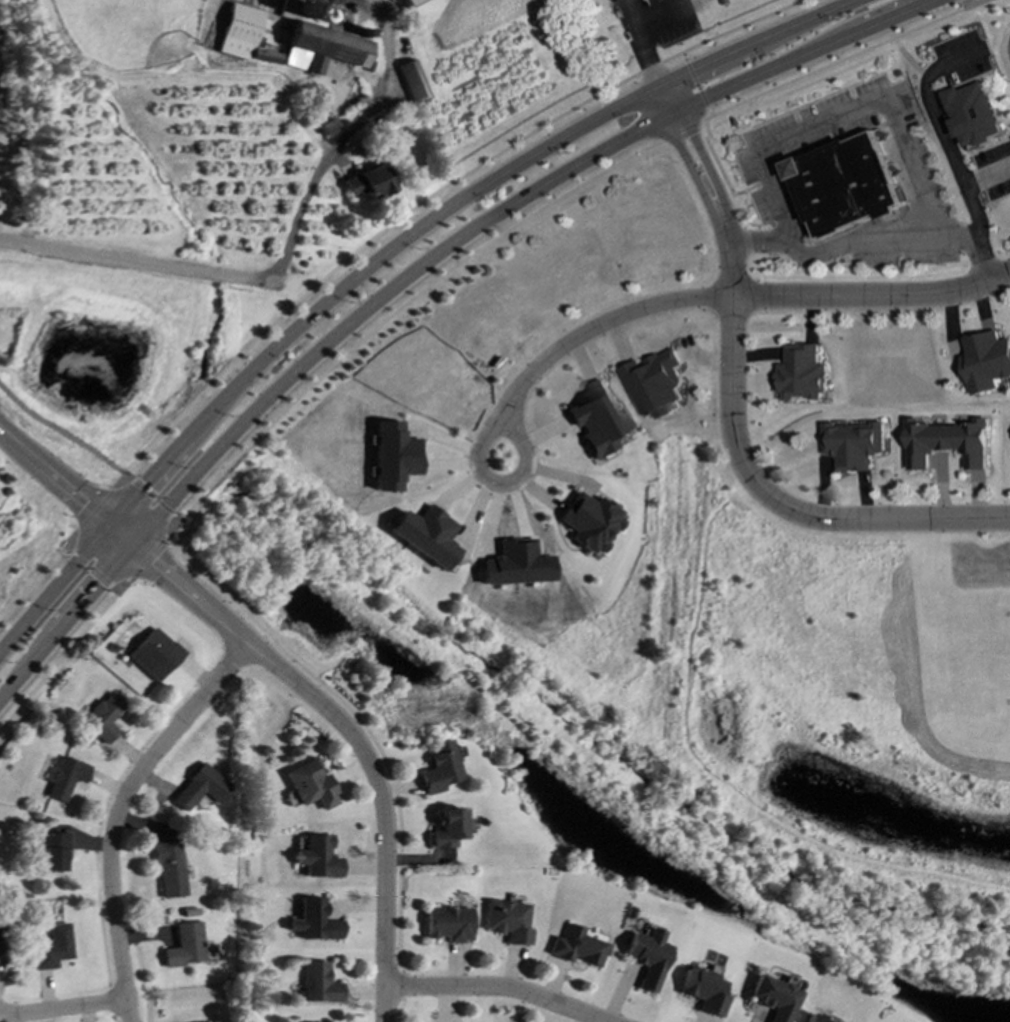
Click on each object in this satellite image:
crop: (765, 1)
road: (968, 2)
road: (978, 2)
building: (419, 6)
building: (244, 35)
road: (642, 37)
building: (319, 43)
road: (907, 59)
road: (834, 62)
building: (413, 82)
road: (694, 84)
road: (844, 114)
building: (973, 114)
road: (678, 130)
road: (336, 148)
road: (947, 151)
road: (986, 176)
building: (369, 183)
building: (844, 185)
road: (426, 200)
road: (846, 243)
road: (379, 258)
road: (140, 262)
road: (409, 273)
road: (738, 297)
road: (392, 312)
building: (987, 362)
building: (802, 374)
building: (655, 384)
road: (729, 412)
building: (596, 419)
road: (60, 430)
building: (948, 443)
building: (855, 445)
building: (392, 456)
road: (127, 477)
road: (496, 484)
road: (65, 489)
road: (153, 500)
road: (94, 510)
traffic signals: (107, 522)
building: (588, 522)
building: (425, 535)
traffic signals: (134, 543)
road: (67, 549)
road: (147, 557)
road: (91, 569)
road: (37, 576)
road: (115, 589)
road: (64, 655)
building: (155, 655)
building: (105, 718)
park: (833, 722)
road: (350, 737)
building: (439, 768)
building: (66, 778)
building: (310, 786)
building: (201, 788)
road: (121, 812)
building: (447, 828)
building: (55, 851)
building: (317, 858)
building: (170, 869)
building: (314, 921)
building: (508, 921)
building: (448, 924)
building: (186, 945)
building: (576, 947)
building: (53, 948)
building: (648, 958)
building: (318, 983)
road: (495, 989)
building: (704, 991)
building: (774, 998)
park: (489, 1005)
road: (64, 1008)
building: (814, 1019)

